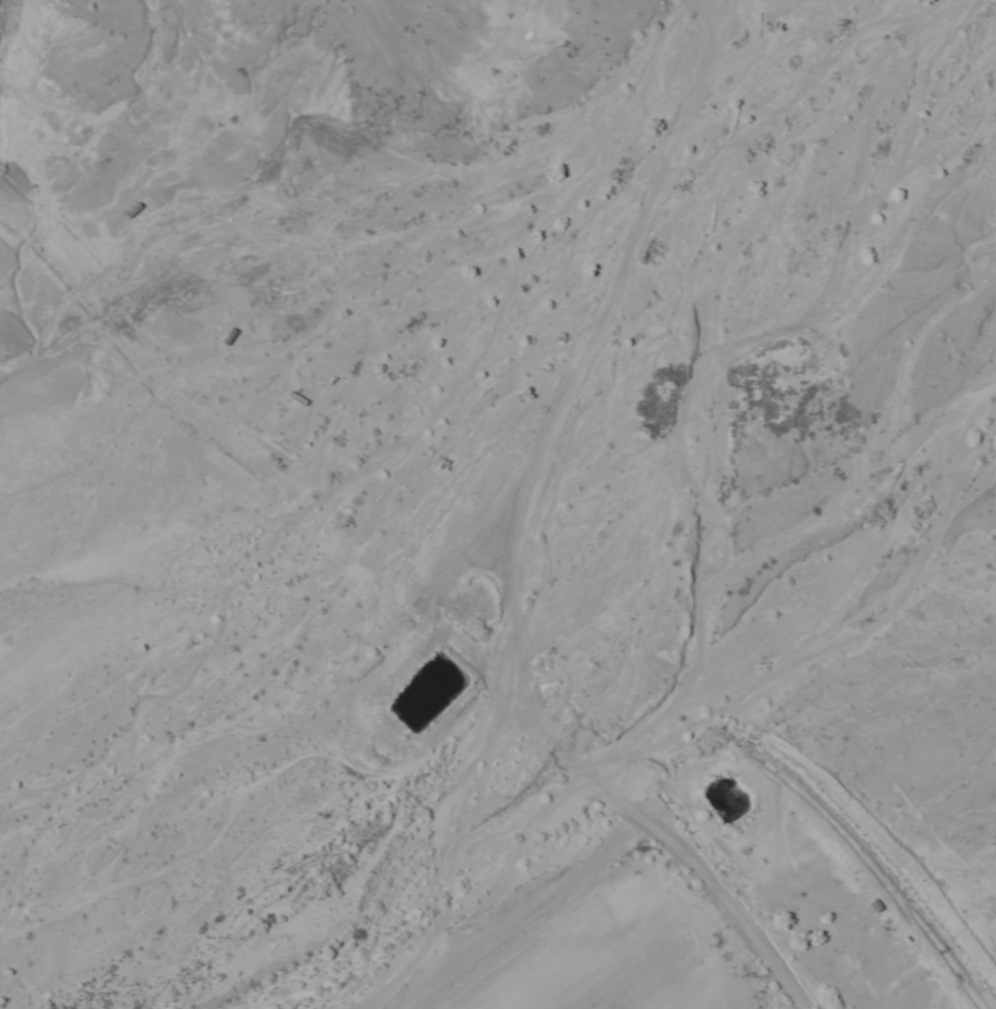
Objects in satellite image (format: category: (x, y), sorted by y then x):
road: (309, 533)

